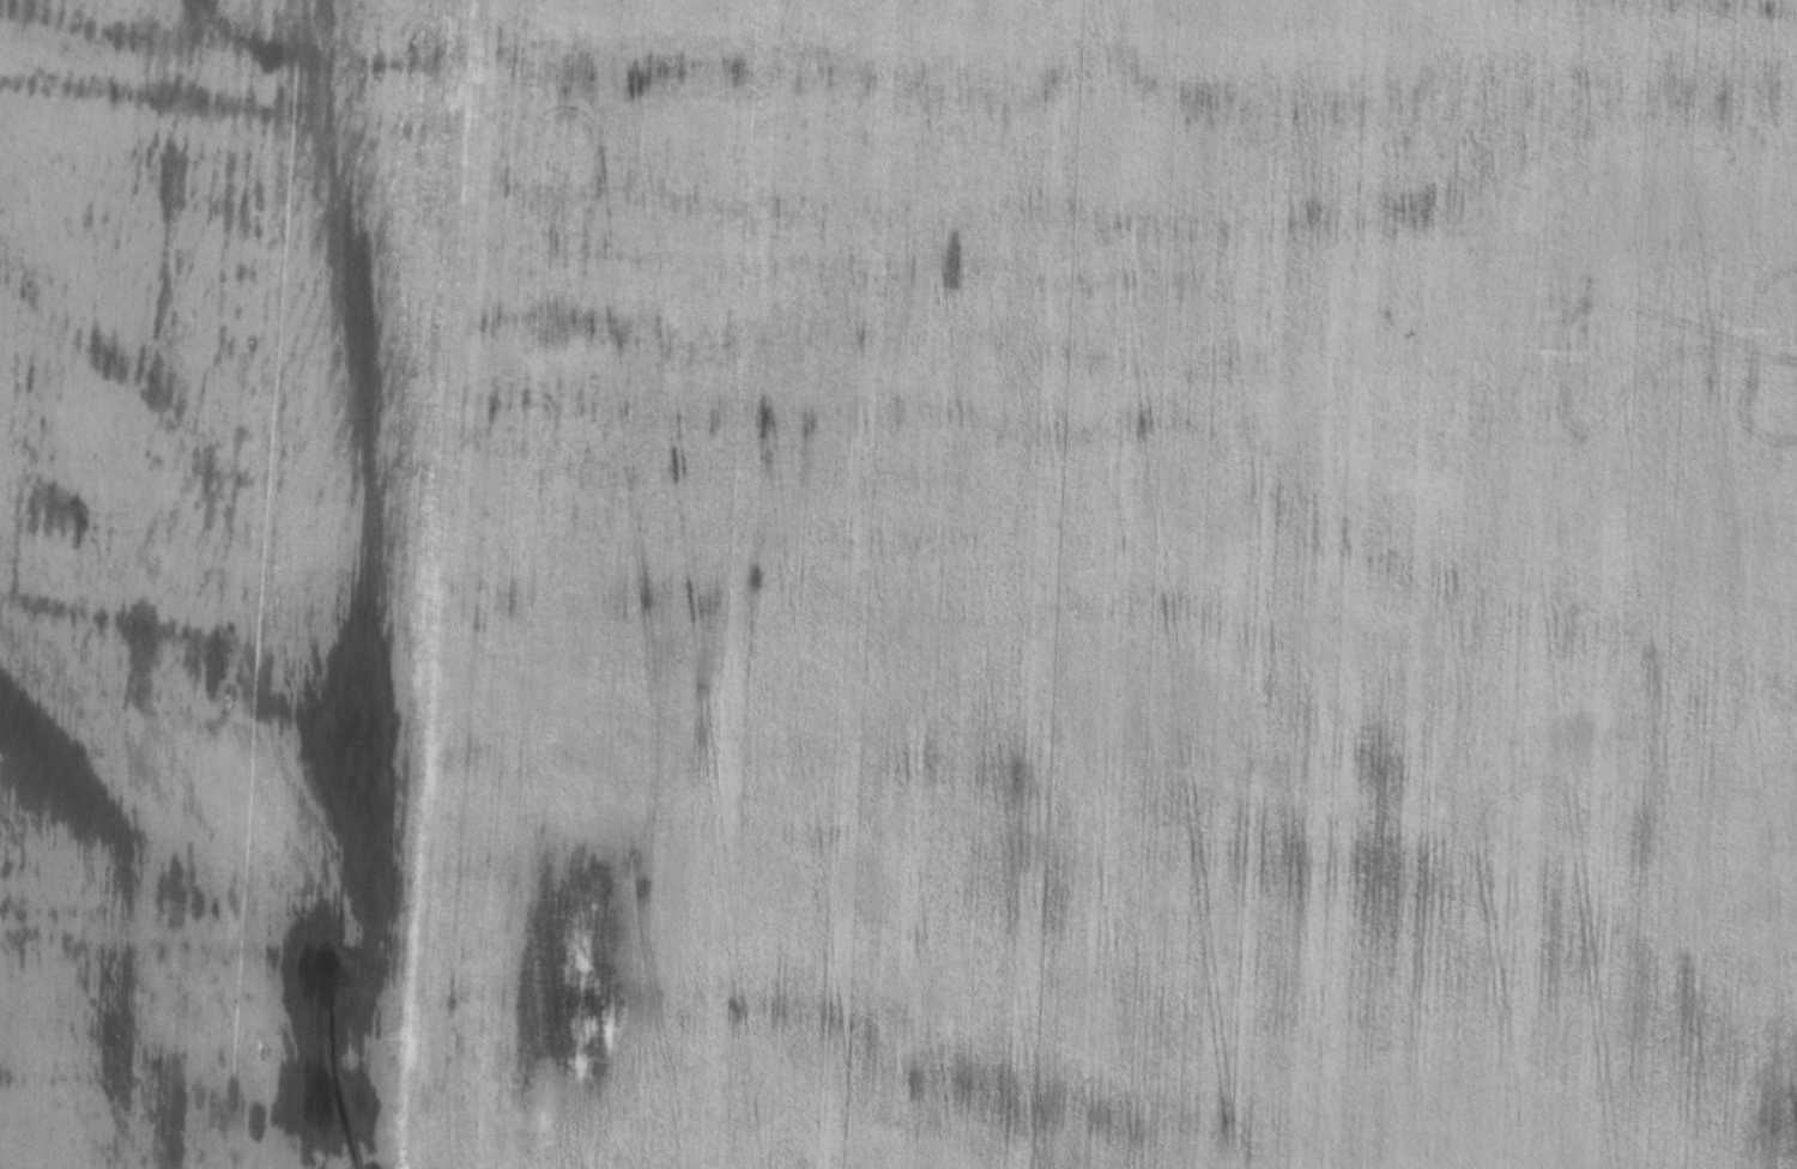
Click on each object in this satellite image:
crop: (213, 565)
crop: (1111, 589)

